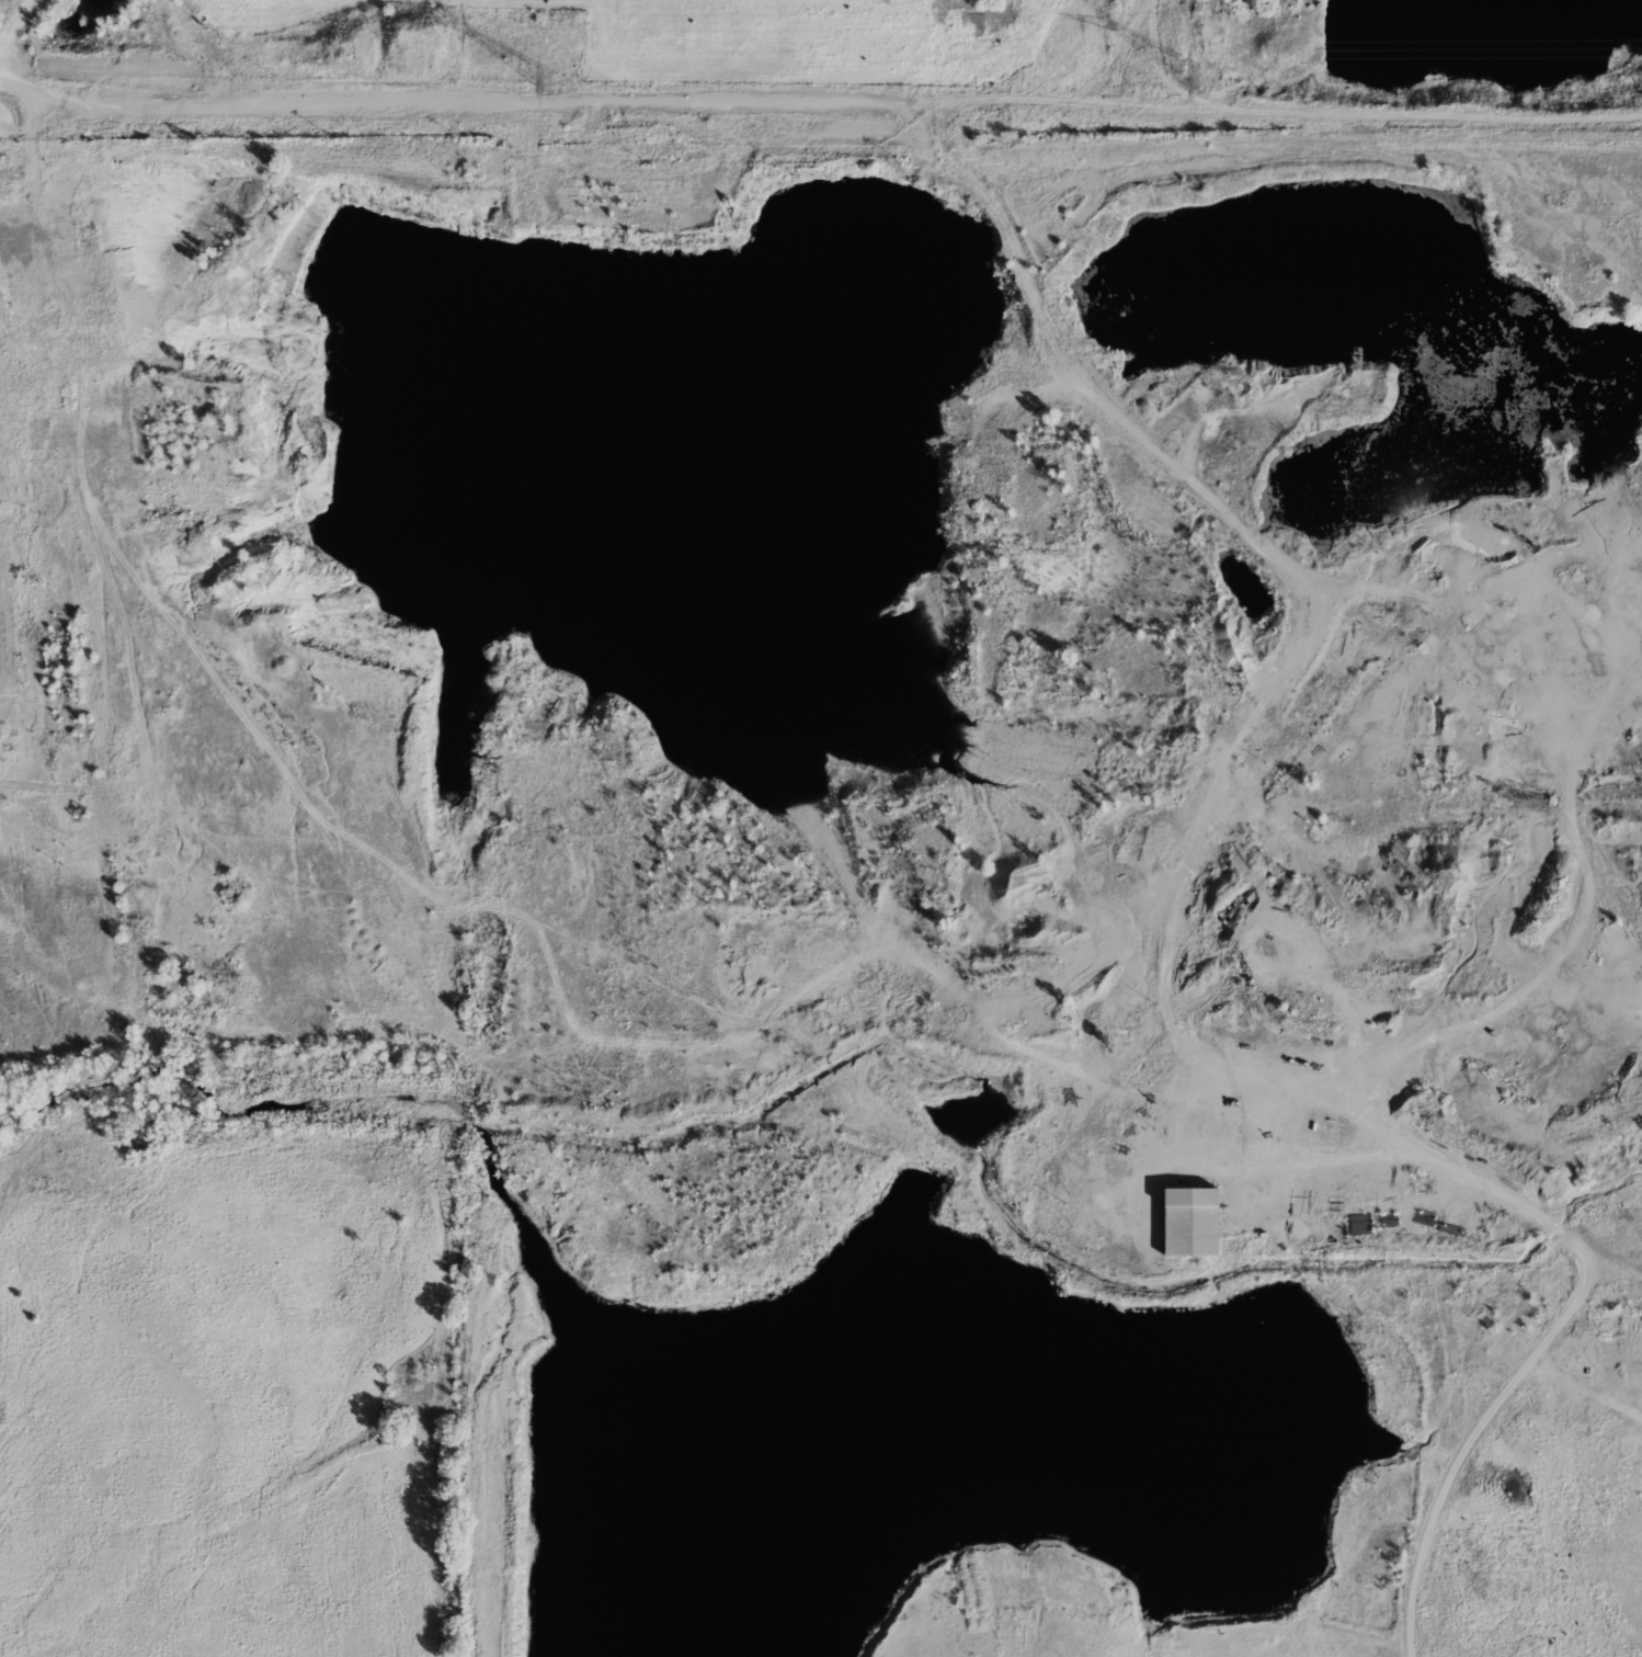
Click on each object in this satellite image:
road: (16, 27)
power tower: (1190, 73)
power tower: (545, 79)
road: (23, 83)
road: (844, 100)
building: (80, 208)
building: (605, 208)
building: (69, 269)
road: (1417, 1140)
building: (1187, 1219)
road: (1478, 1433)

